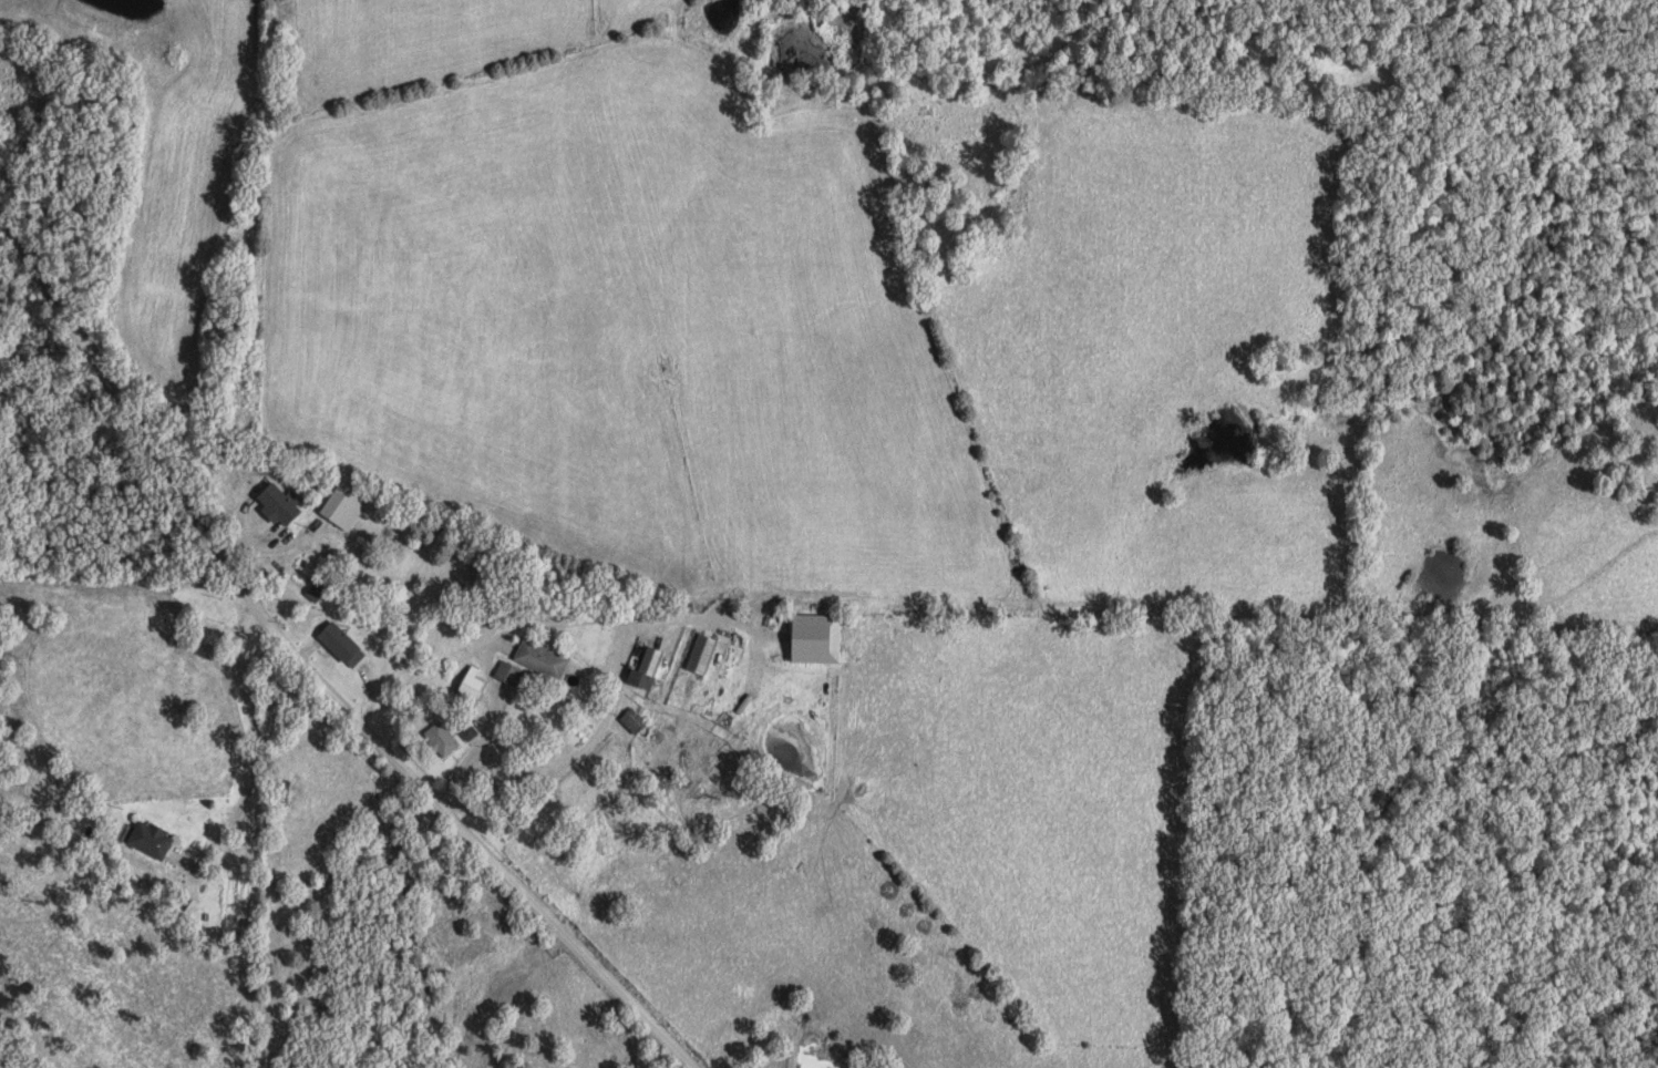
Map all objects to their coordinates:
building: (272, 504)
building: (809, 640)
building: (336, 646)
building: (698, 657)
building: (537, 660)
road: (310, 665)
building: (641, 671)
building: (504, 675)
building: (463, 691)
building: (436, 741)
road: (254, 748)
building: (277, 792)
building: (145, 842)

